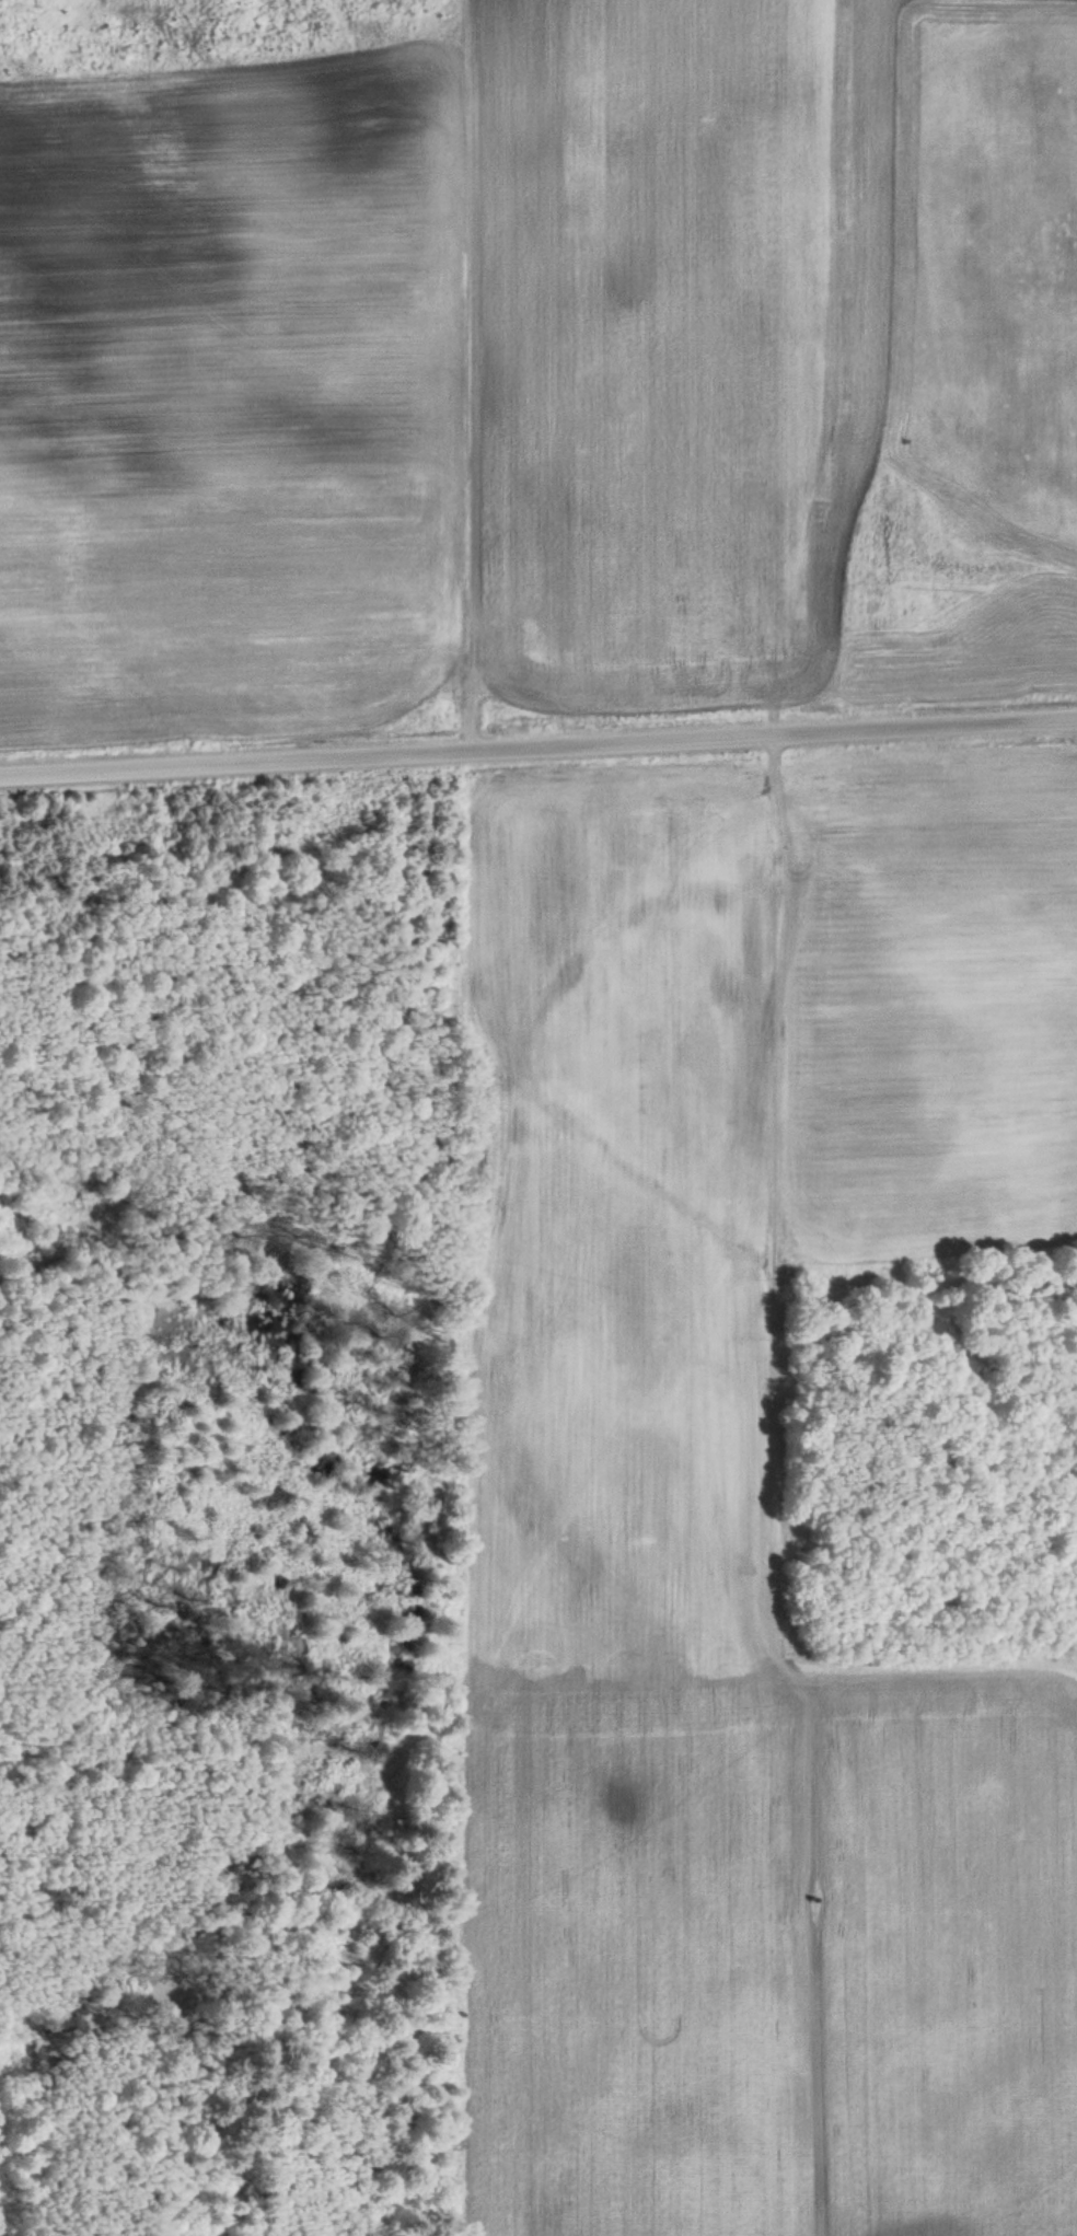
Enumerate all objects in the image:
road: (538, 742)

